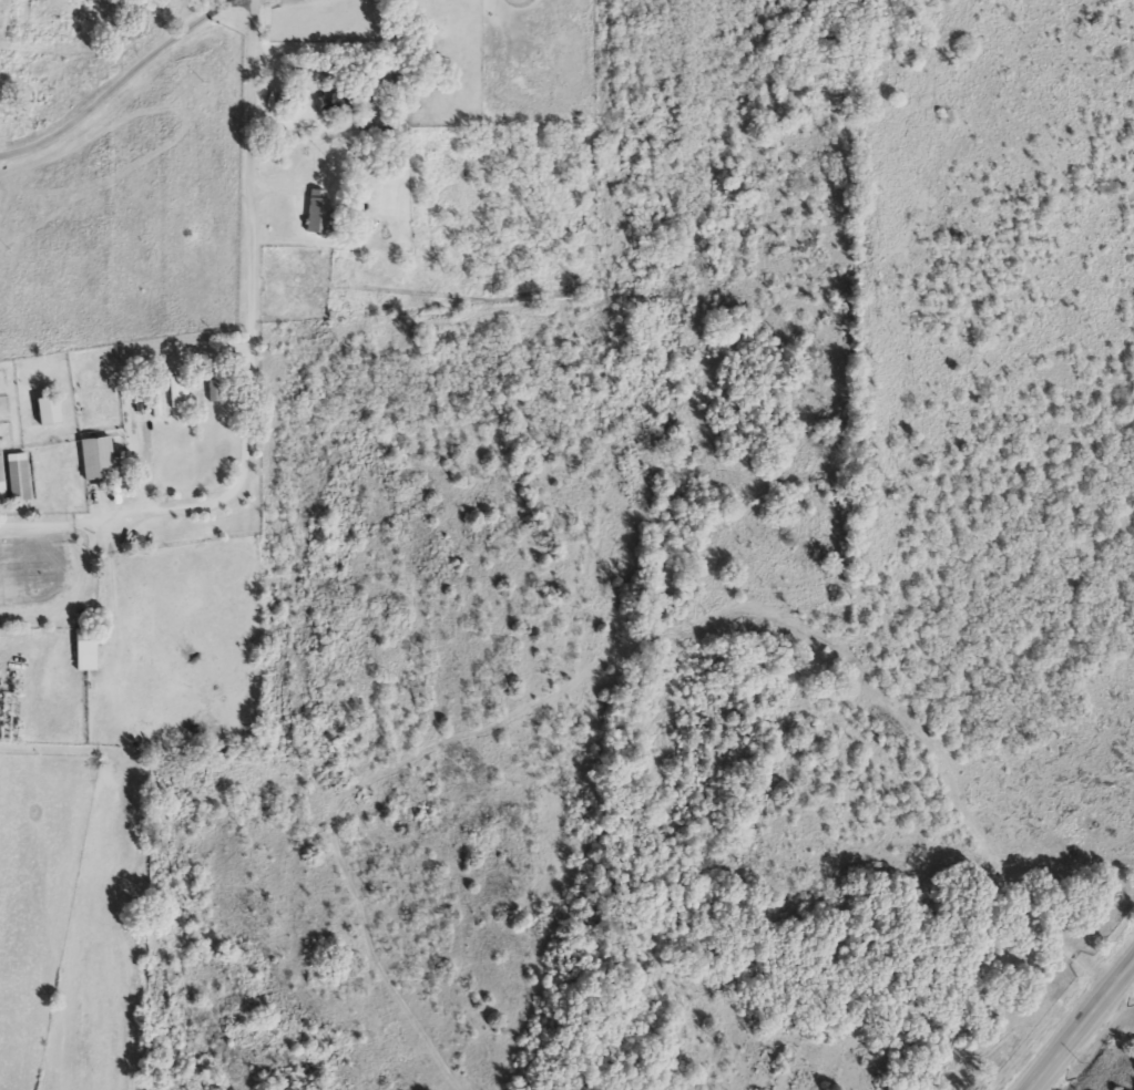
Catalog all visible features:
road: (121, 83)
building: (336, 101)
building: (320, 207)
road: (255, 309)
building: (214, 387)
building: (175, 392)
building: (155, 402)
building: (50, 412)
building: (98, 460)
building: (21, 480)
building: (3, 482)
building: (88, 651)
road: (1082, 1024)

